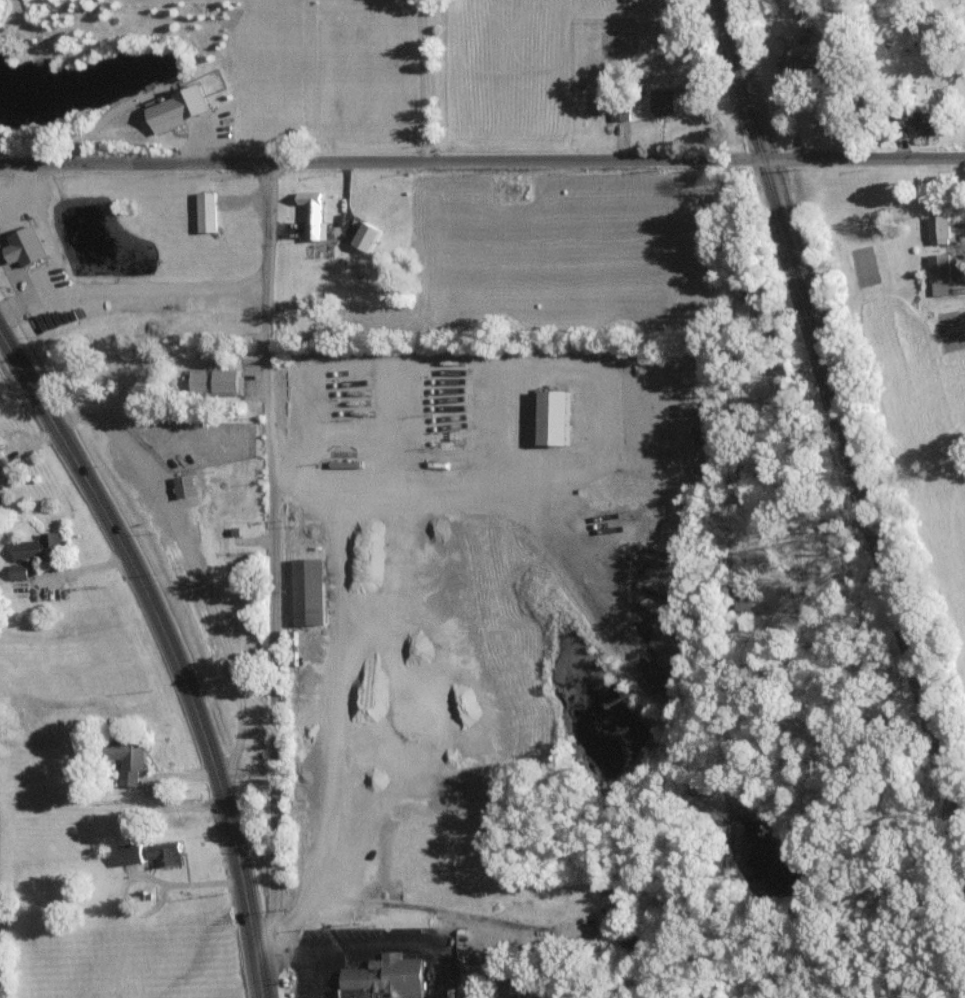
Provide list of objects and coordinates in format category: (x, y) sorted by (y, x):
road: (422, 80)
building: (662, 100)
building: (597, 101)
building: (177, 108)
building: (620, 113)
building: (927, 122)
road: (482, 161)
road: (964, 193)
building: (207, 211)
building: (312, 214)
building: (939, 229)
building: (366, 236)
building: (24, 246)
building: (939, 274)
road: (83, 289)
road: (227, 292)
road: (35, 298)
building: (214, 380)
railway: (840, 413)
building: (553, 417)
building: (4, 472)
building: (185, 485)
building: (37, 546)
road: (198, 568)
road: (274, 570)
building: (18, 571)
building: (308, 591)
road: (178, 637)
building: (126, 757)
building: (129, 853)
building: (165, 854)
road: (190, 884)
road: (308, 960)
building: (476, 972)
building: (385, 978)
building: (508, 987)

